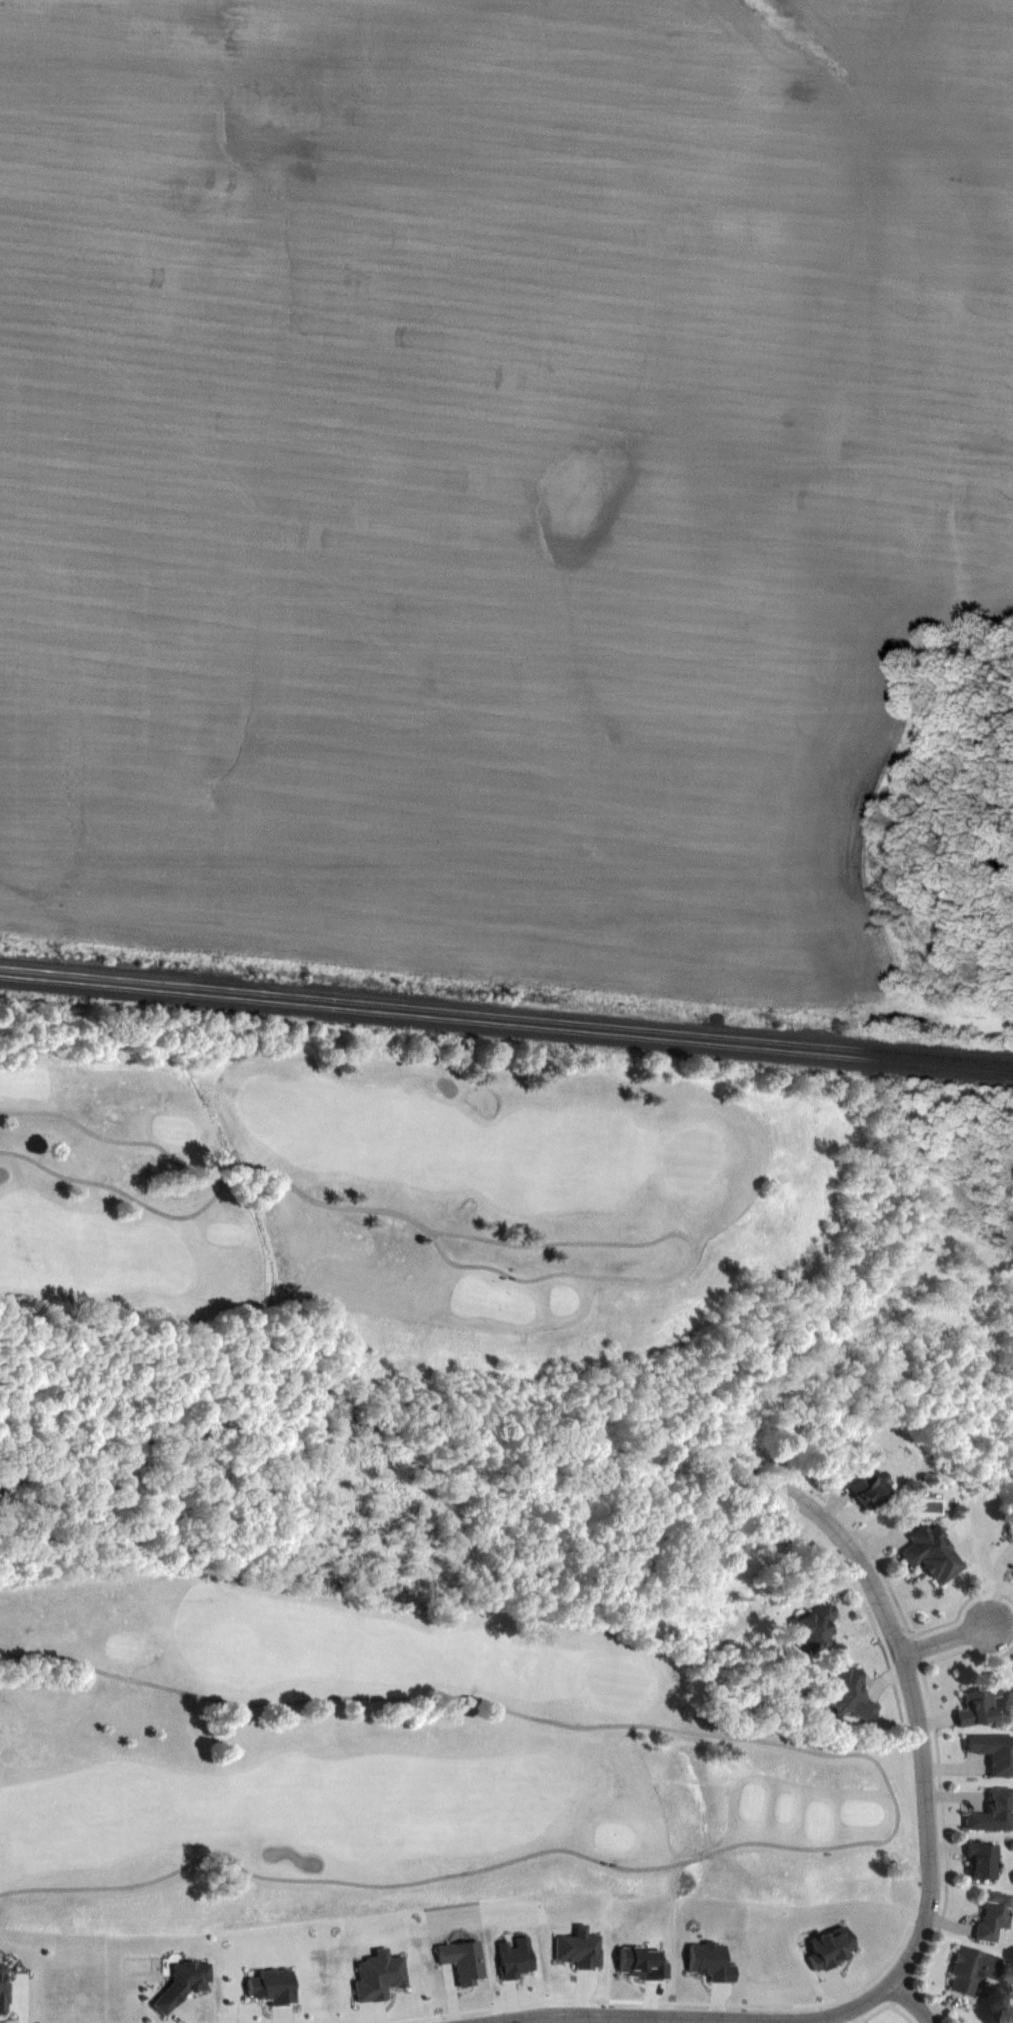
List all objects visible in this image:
railway: (506, 1017)
railway: (506, 1027)
road: (218, 1186)
road: (299, 1188)
road: (687, 1237)
building: (863, 1486)
building: (931, 1553)
building: (813, 1627)
road: (942, 1635)
building: (849, 1692)
building: (975, 1706)
building: (993, 1752)
road: (925, 1796)
road: (895, 1809)
building: (992, 1812)
building: (980, 1859)
building: (991, 1914)
building: (971, 1968)
building: (184, 1979)
road: (912, 1997)
road: (588, 2017)

